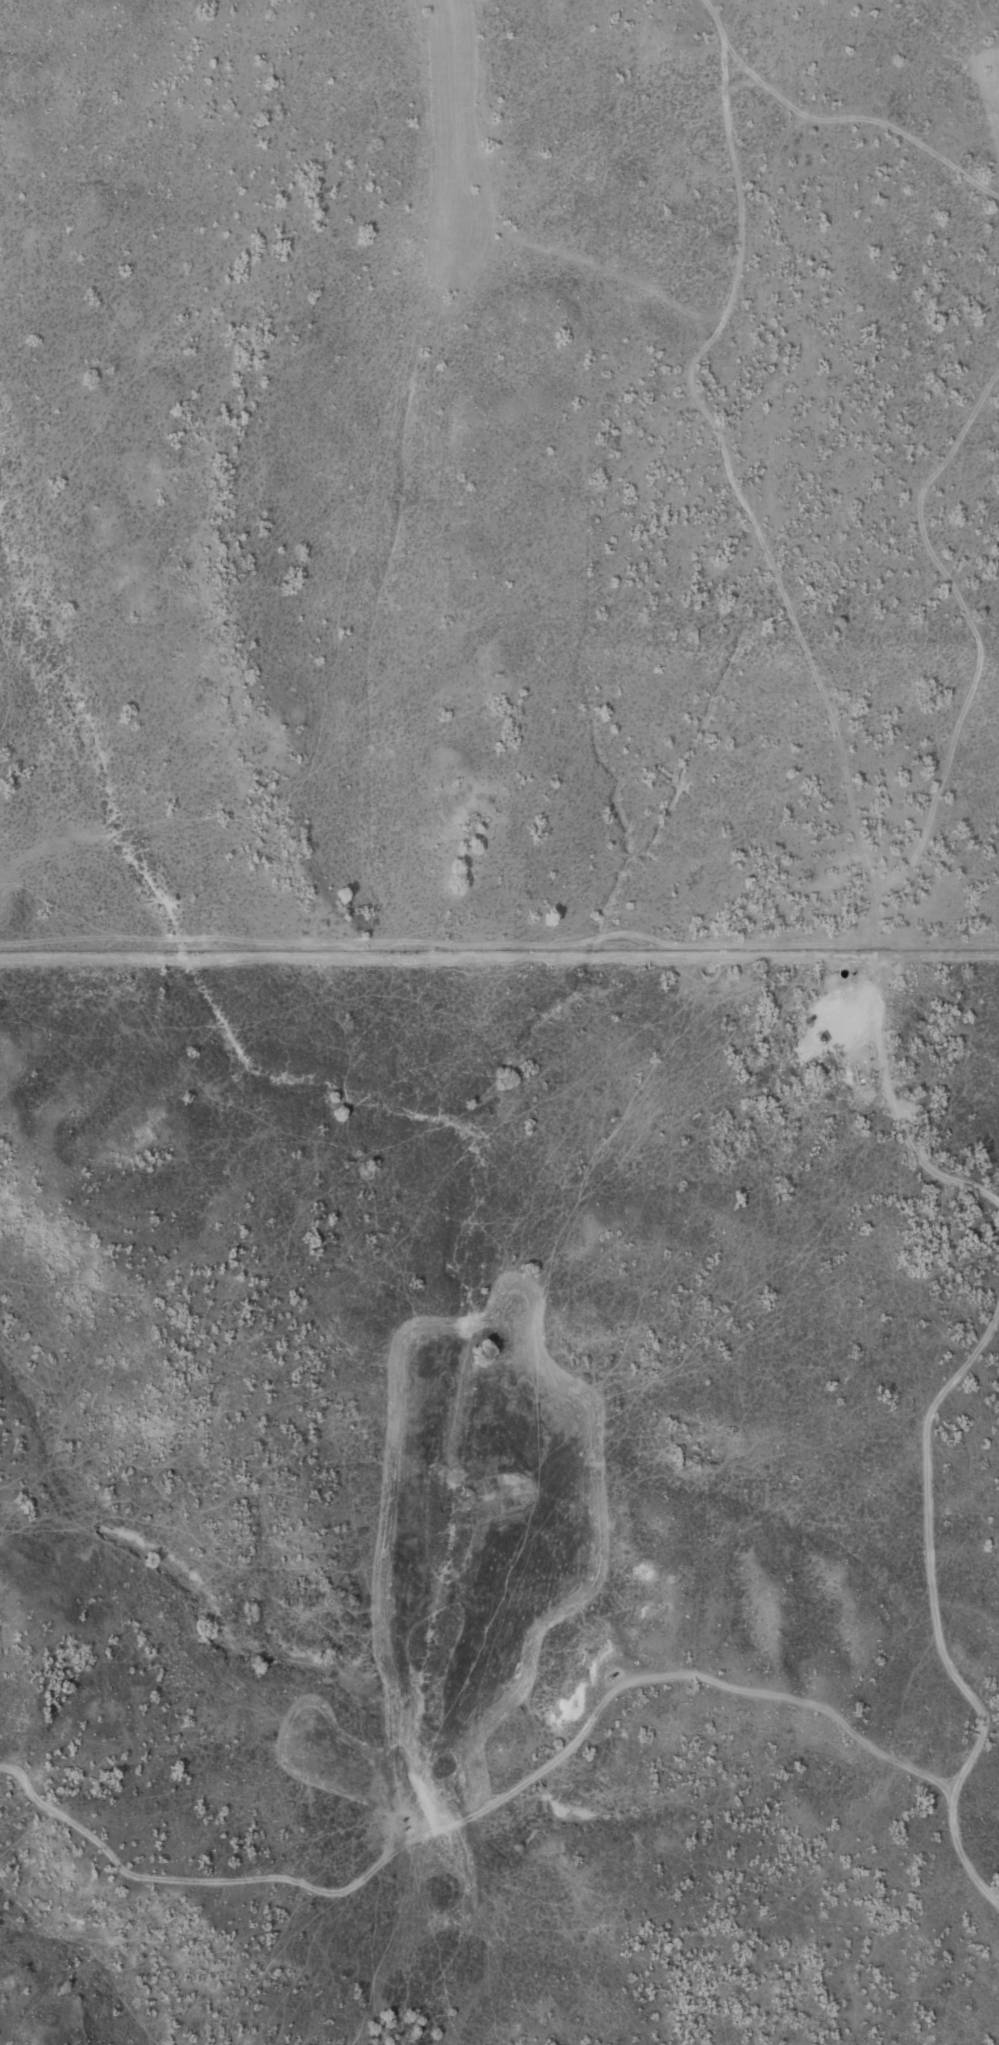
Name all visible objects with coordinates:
road: (854, 732)
road: (959, 1787)

